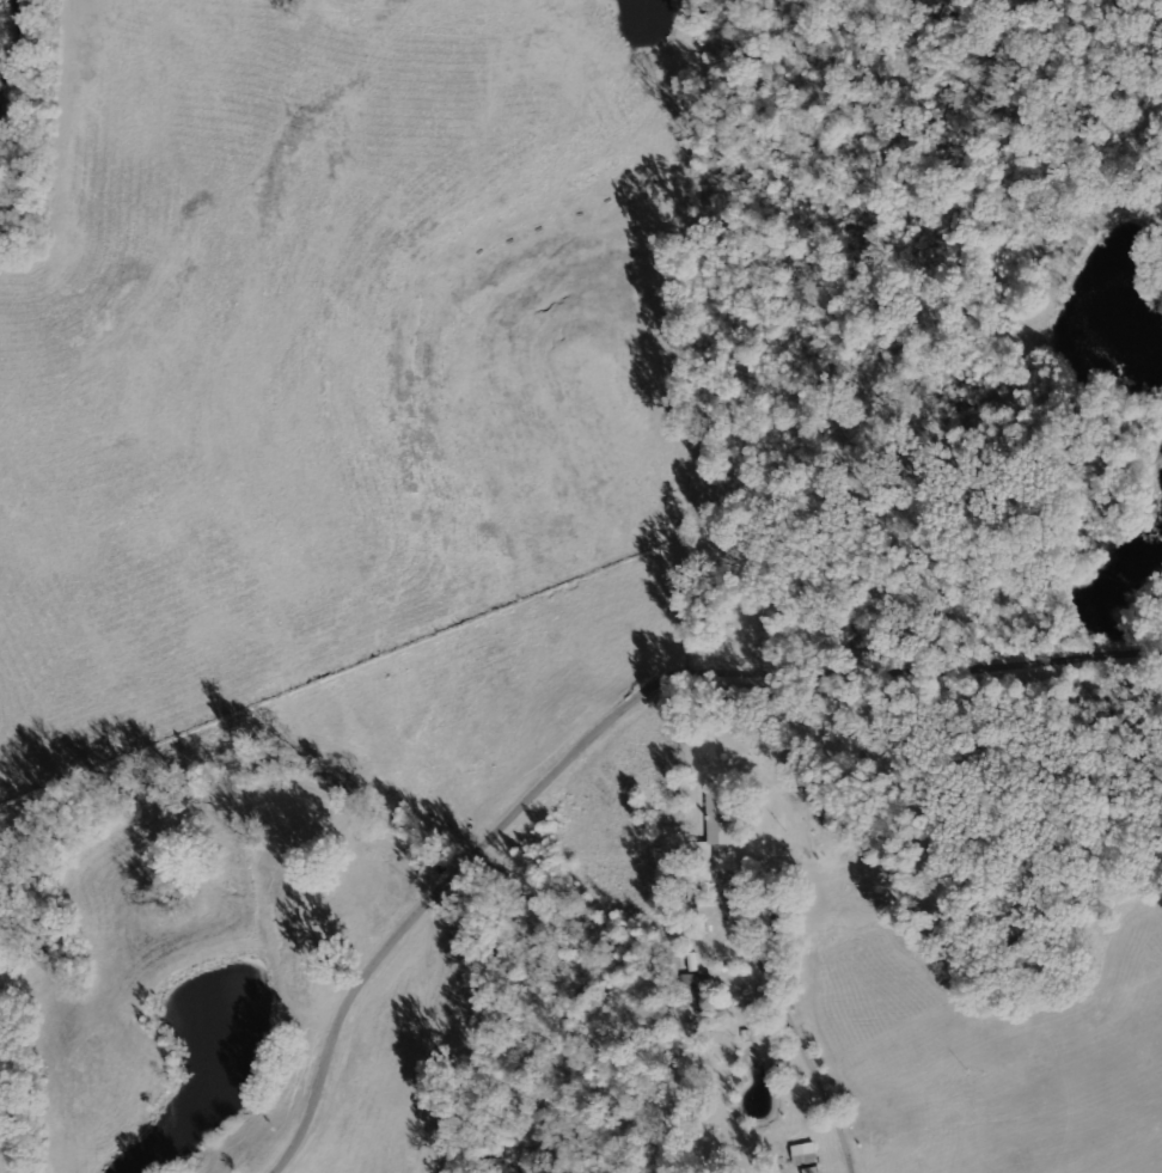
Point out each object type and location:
building: (714, 831)
road: (831, 1085)
building: (803, 1154)

